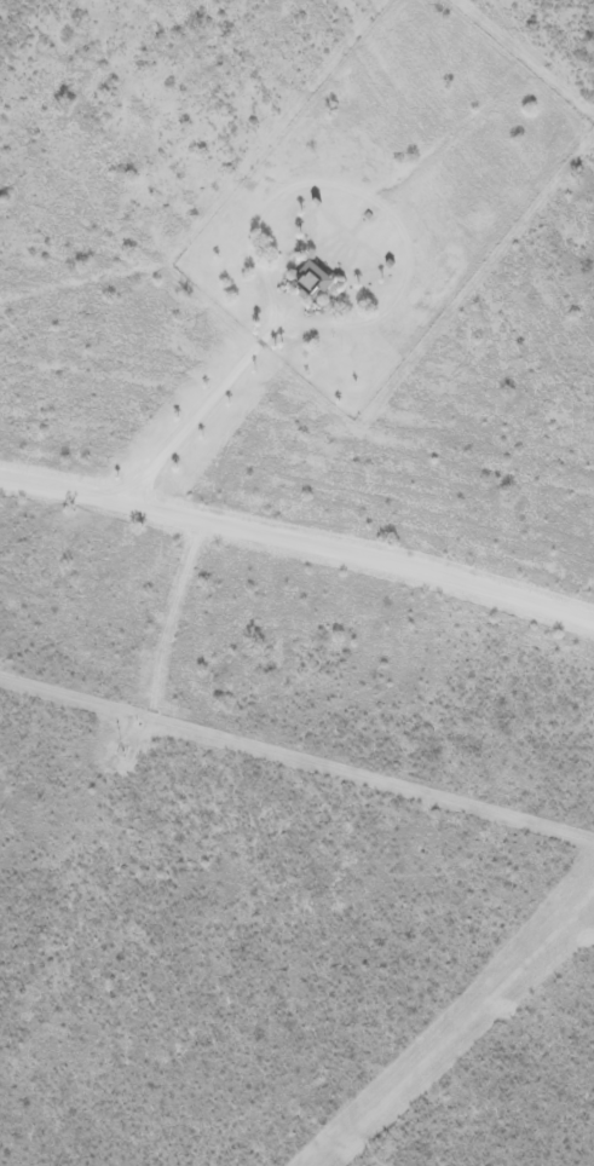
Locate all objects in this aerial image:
building: (310, 271)
road: (299, 542)

